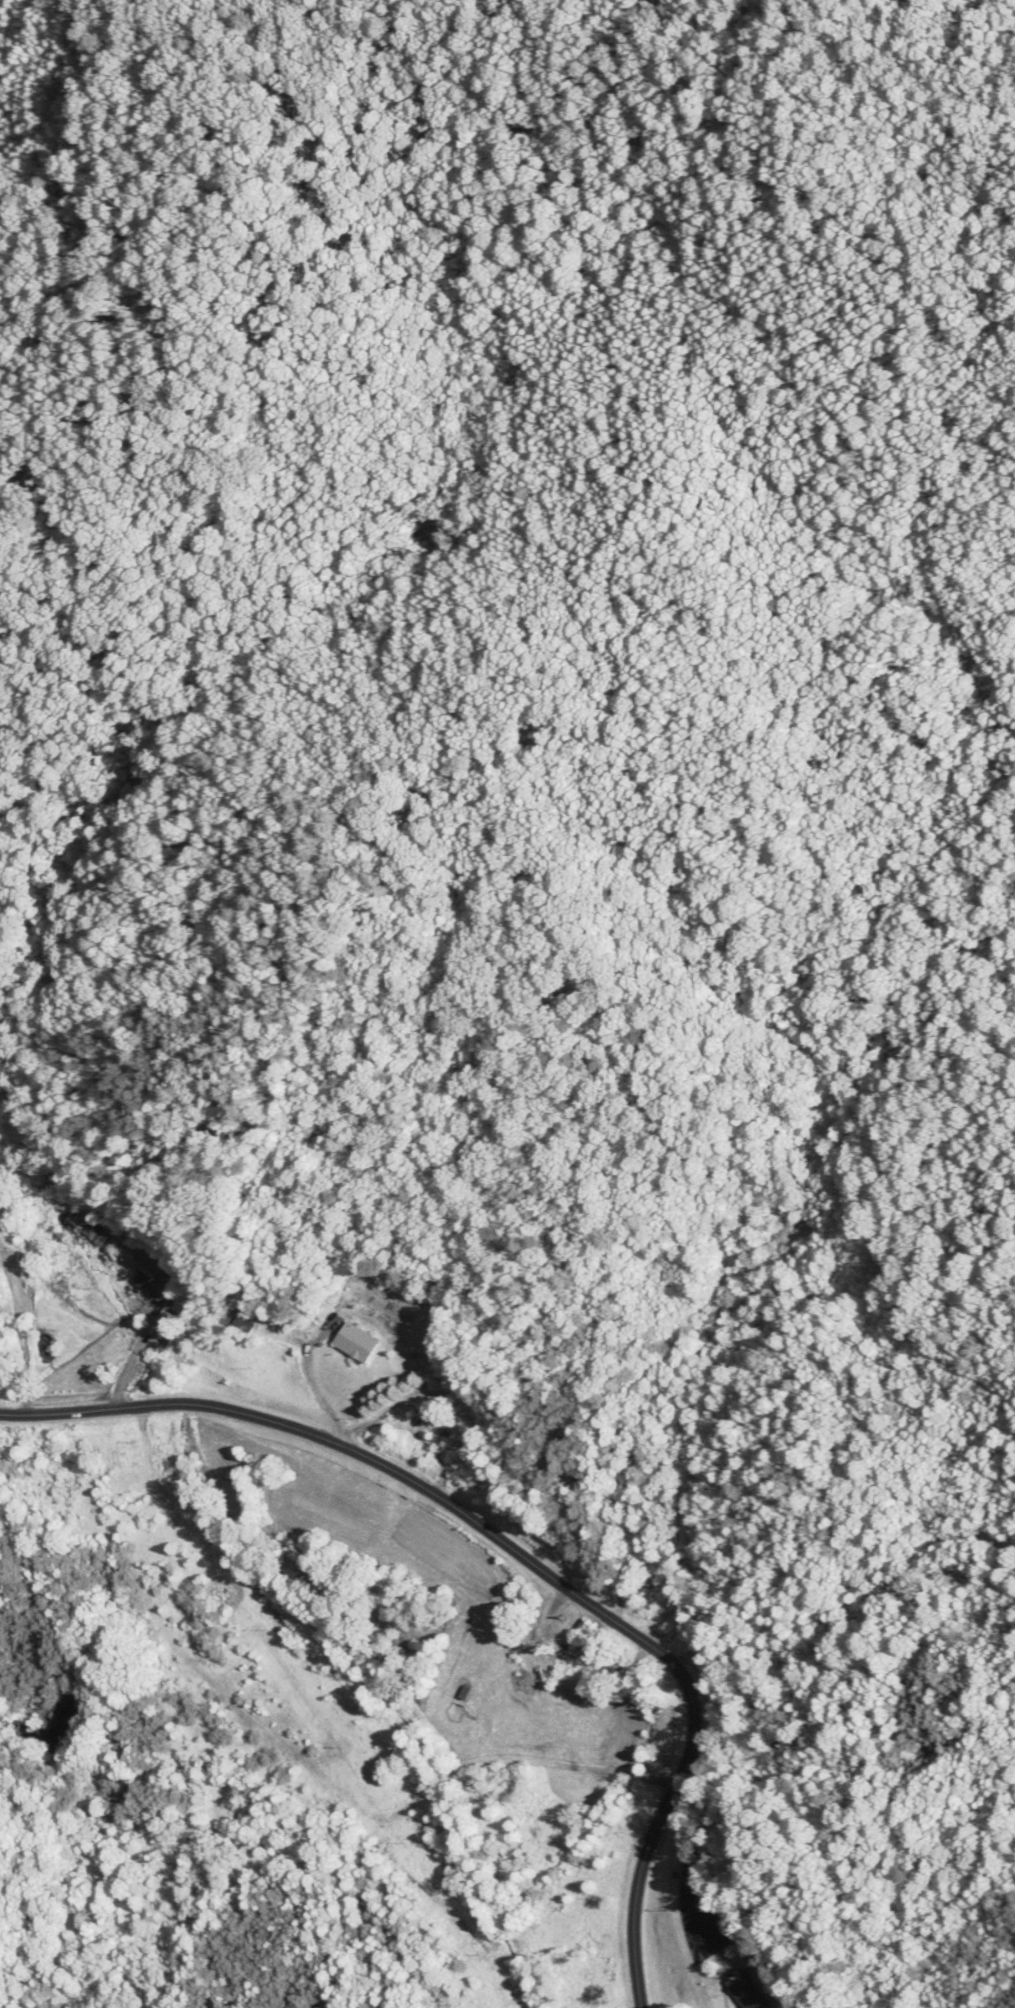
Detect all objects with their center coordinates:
building: (63, 1241)
building: (142, 1267)
building: (232, 1316)
road: (144, 1332)
building: (359, 1343)
road: (320, 1393)
building: (445, 1421)
road: (517, 1553)
building: (606, 1665)
road: (406, 1772)
road: (688, 1871)
building: (741, 1989)

